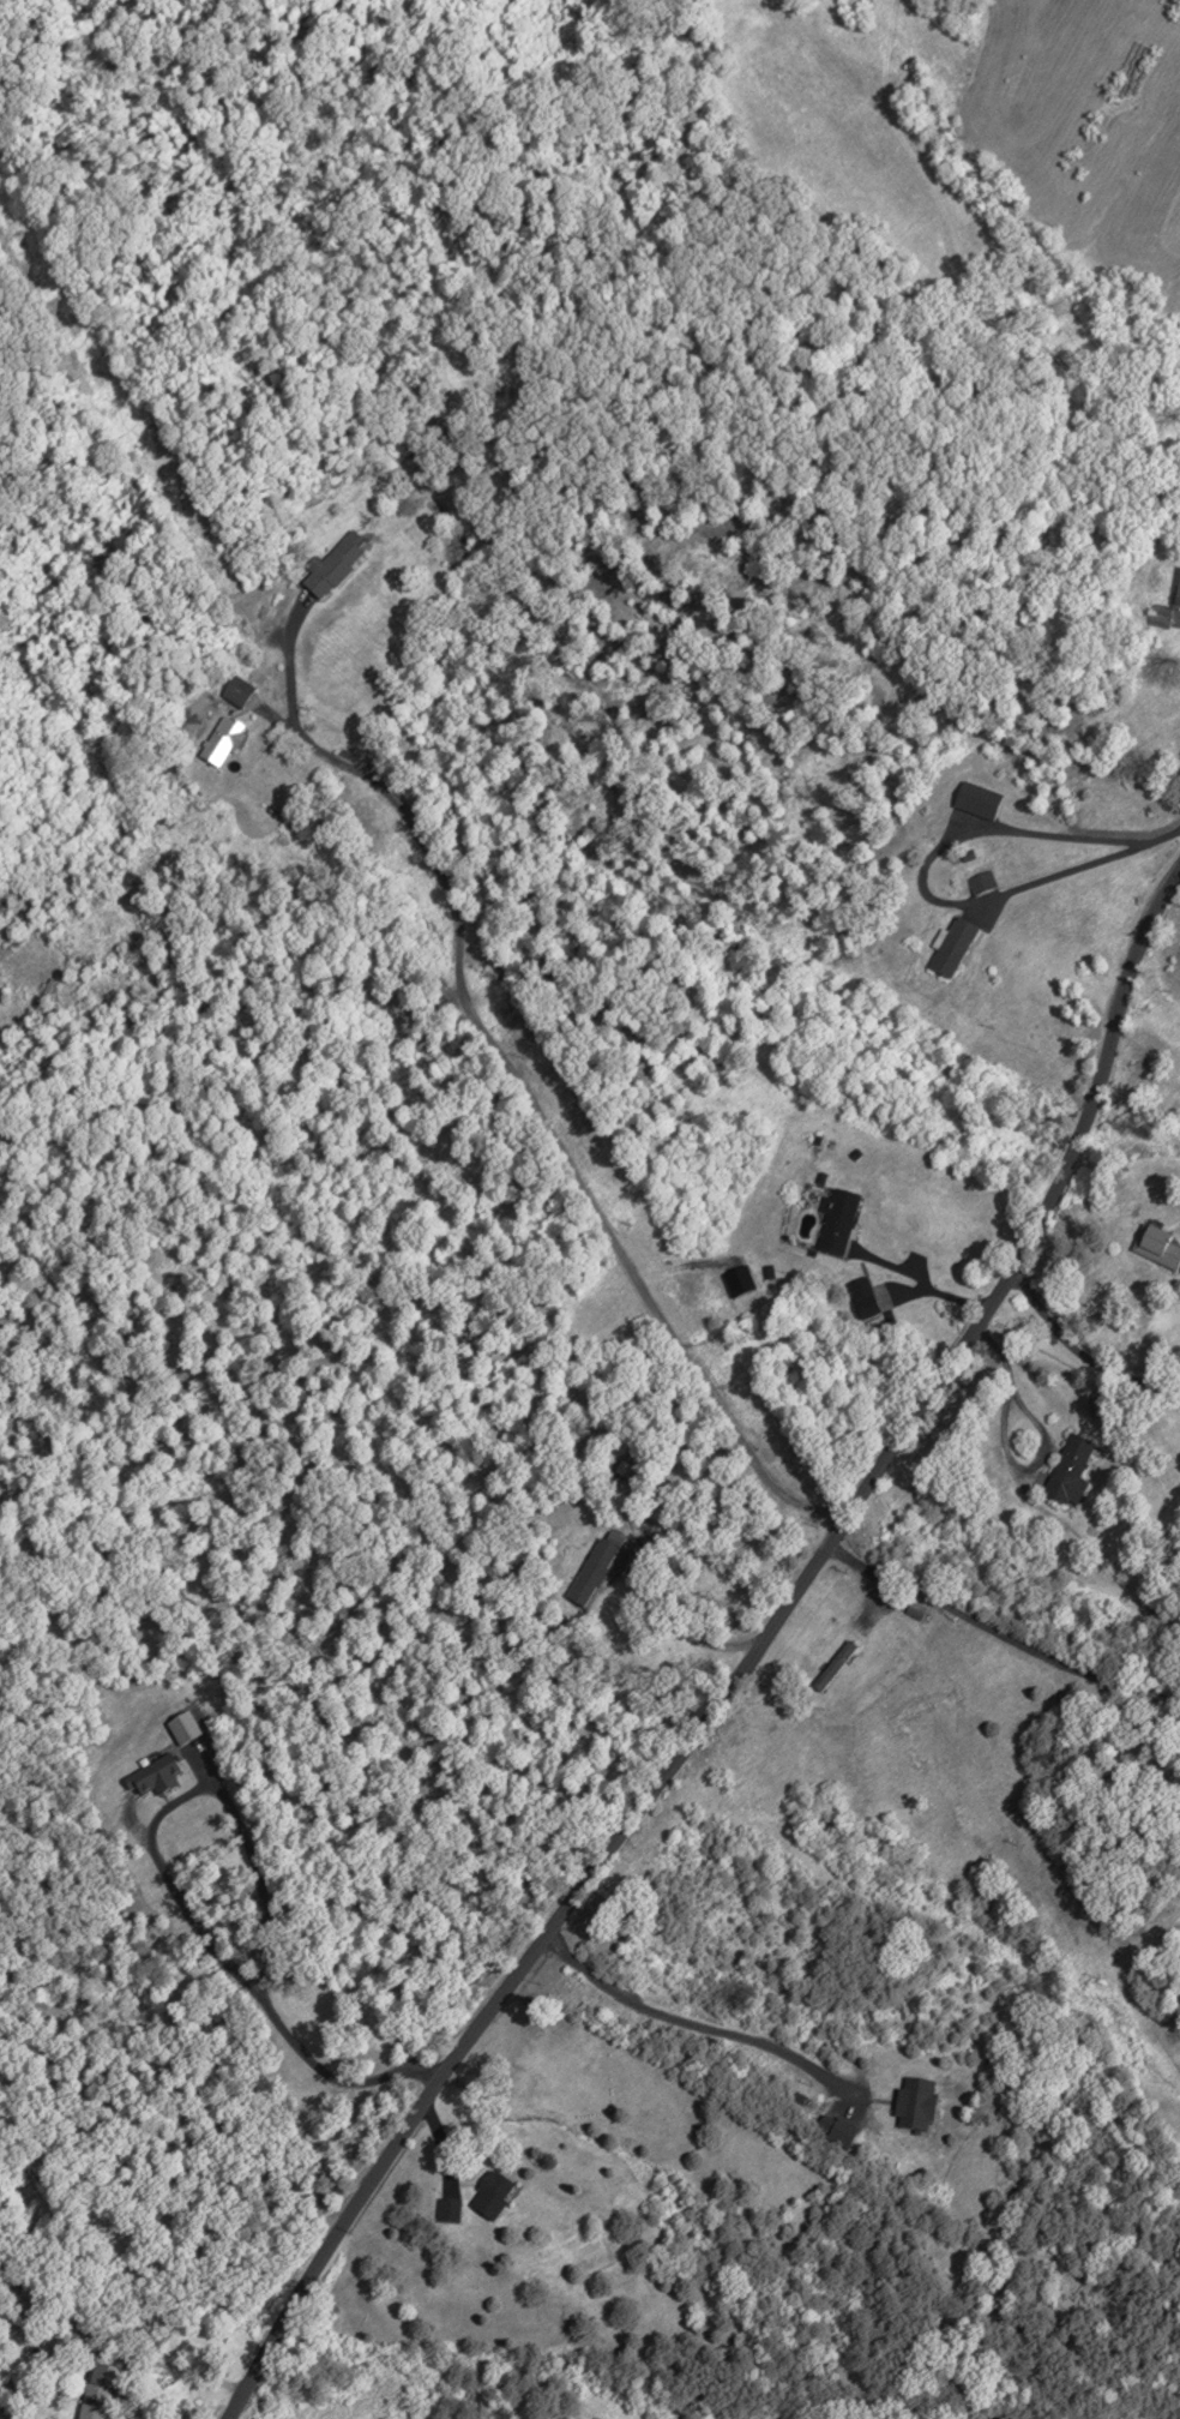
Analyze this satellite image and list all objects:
road: (741, 1670)

